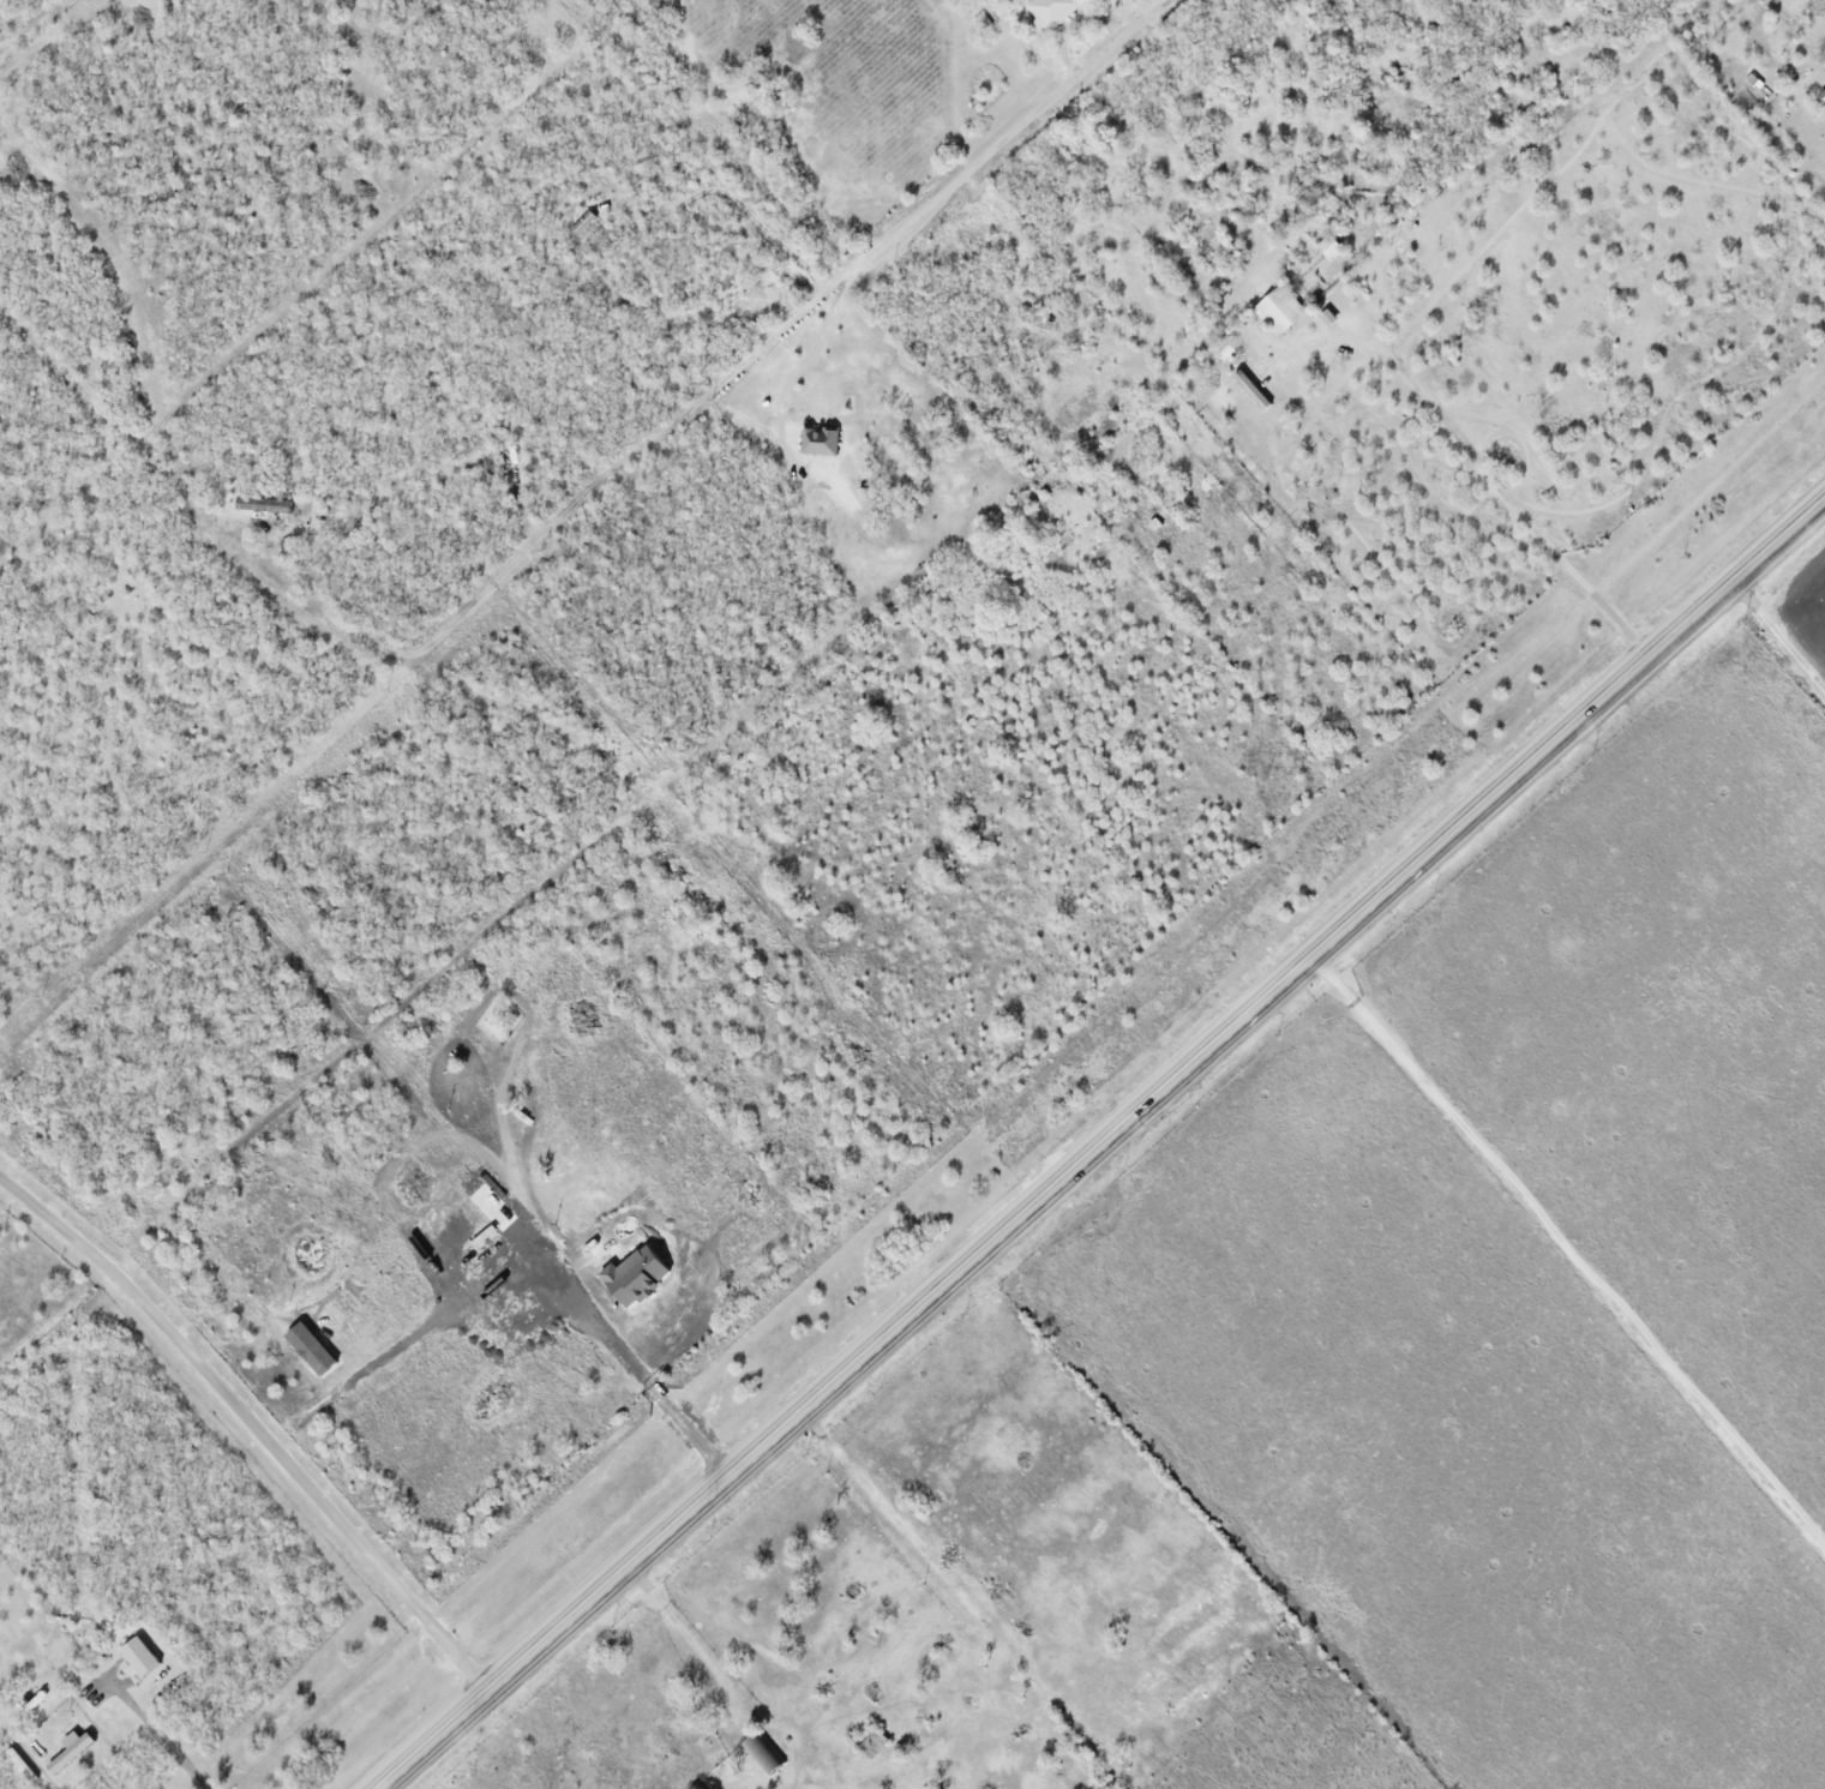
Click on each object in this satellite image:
building: (1046, 11)
road: (1016, 126)
building: (1409, 194)
building: (1251, 236)
building: (1326, 247)
building: (1275, 308)
road: (1779, 631)
road: (1099, 1145)
building: (74, 1191)
road: (1569, 1251)
road: (251, 1425)
road: (689, 1641)
building: (955, 1687)
building: (74, 1753)
building: (766, 1755)
building: (23, 1765)

